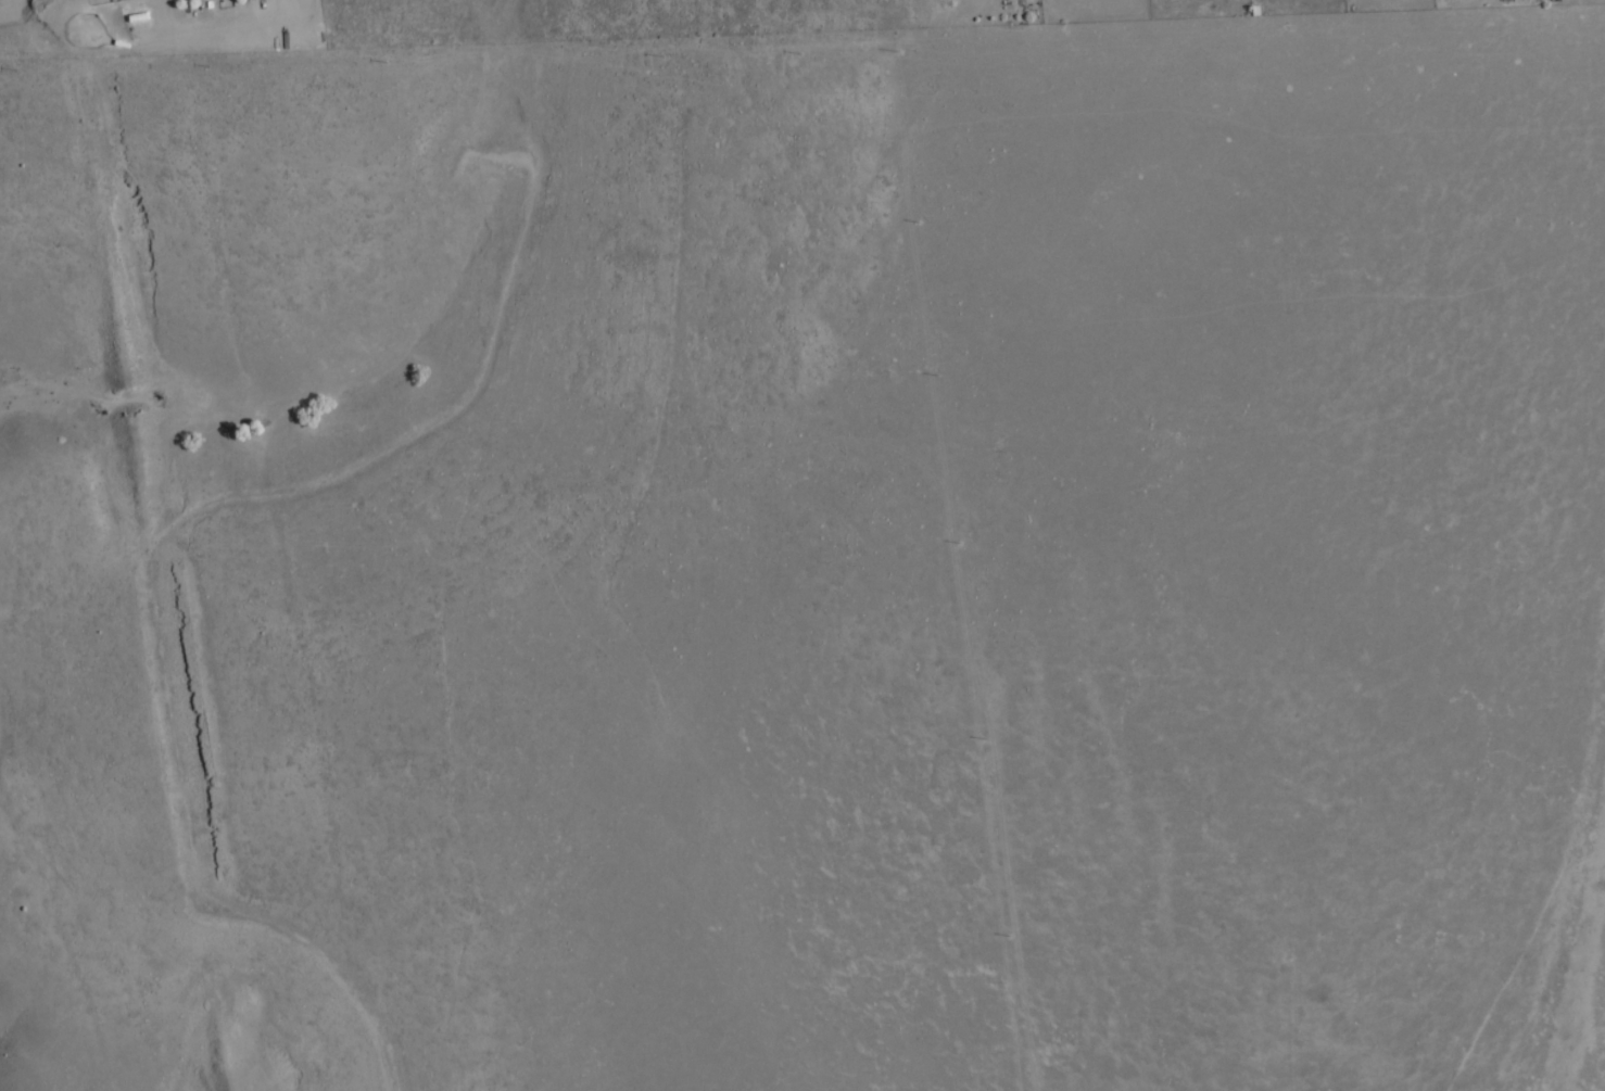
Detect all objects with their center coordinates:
road: (1594, 999)

